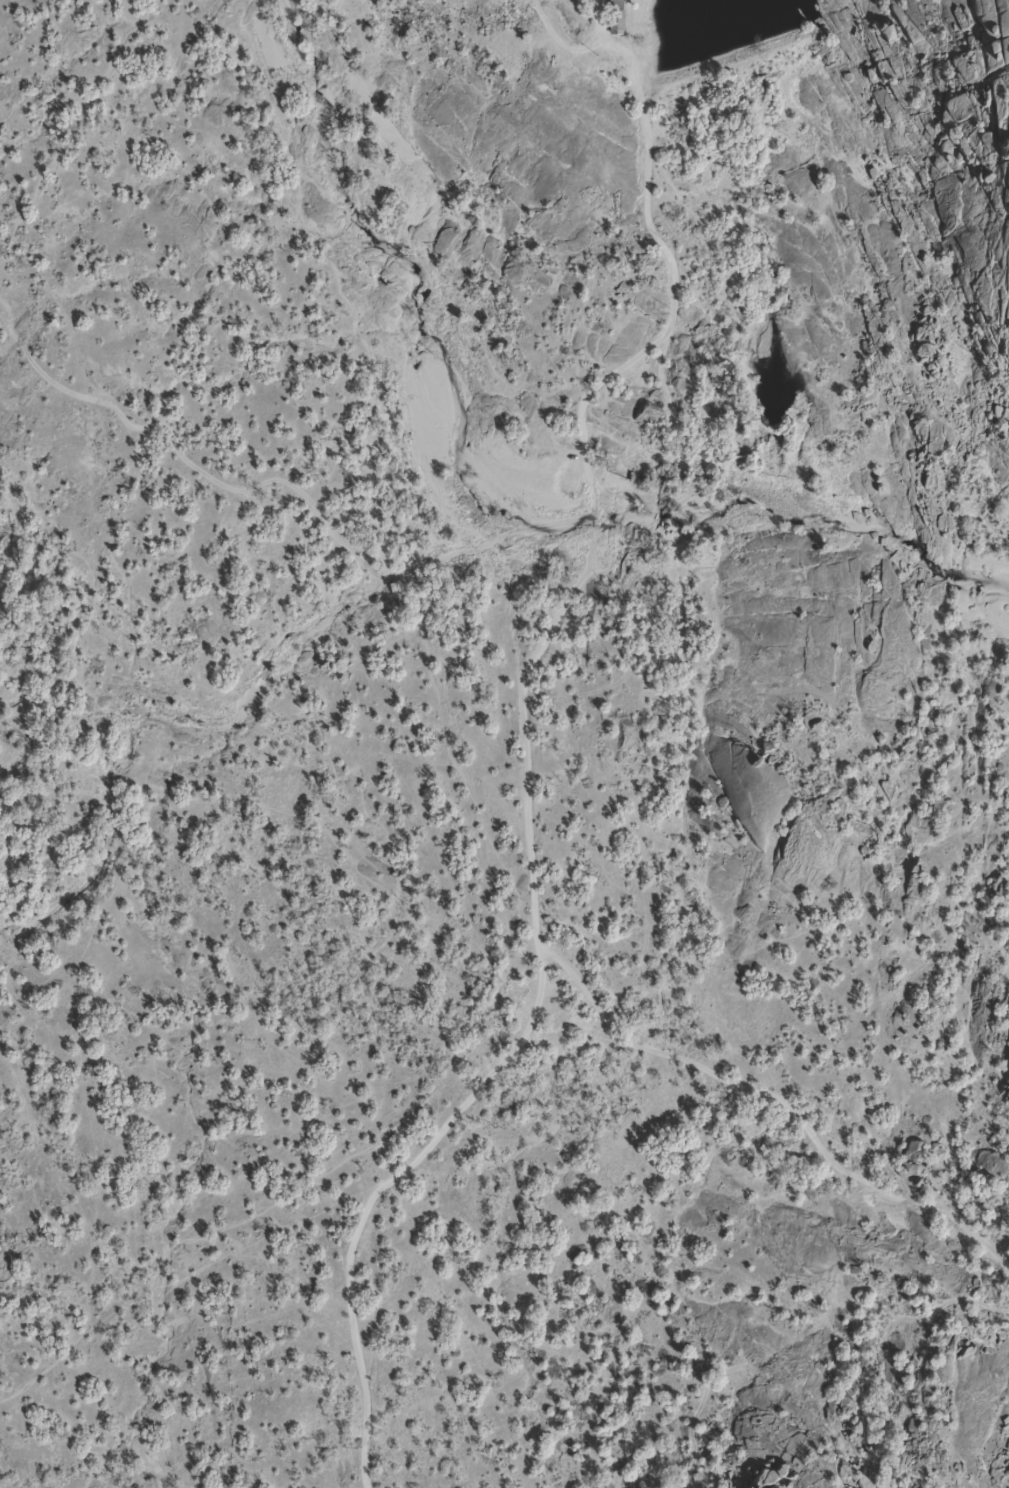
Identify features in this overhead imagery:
building: (617, 18)
road: (534, 740)

